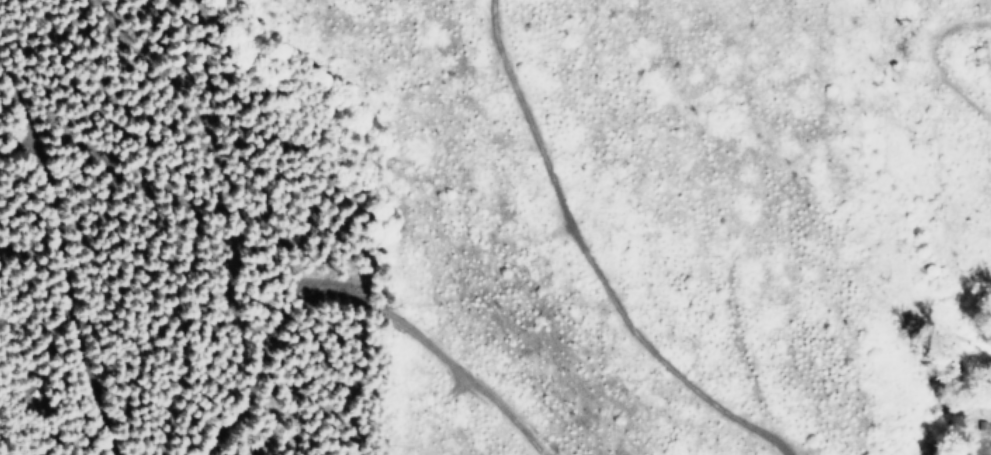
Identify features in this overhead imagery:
road: (974, 49)
road: (64, 269)

